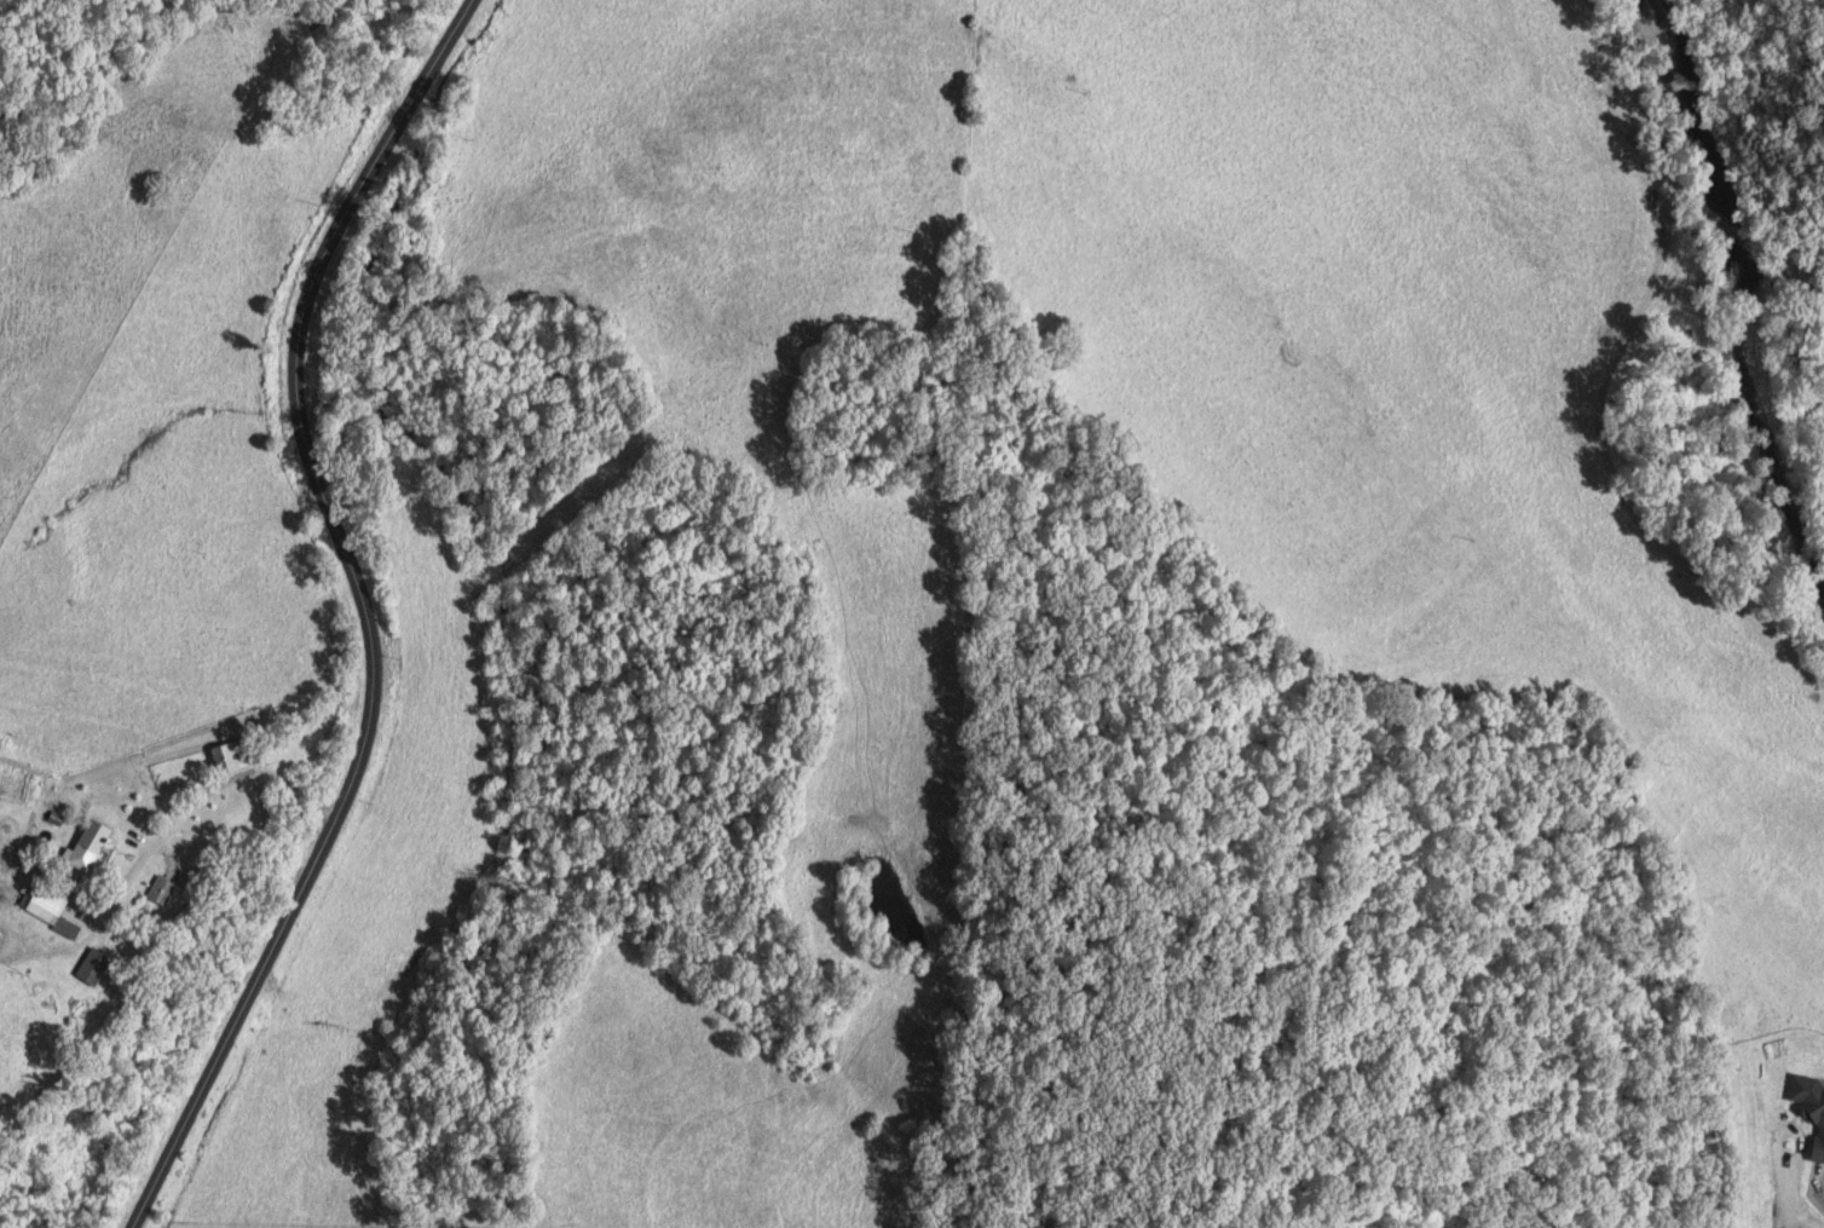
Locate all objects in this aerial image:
road: (1681, 168)
road: (1603, 465)
road: (363, 612)
building: (225, 757)
building: (79, 853)
building: (163, 895)
building: (47, 911)
building: (88, 968)
building: (1808, 1115)
road: (360, 1148)
road: (1785, 1204)

